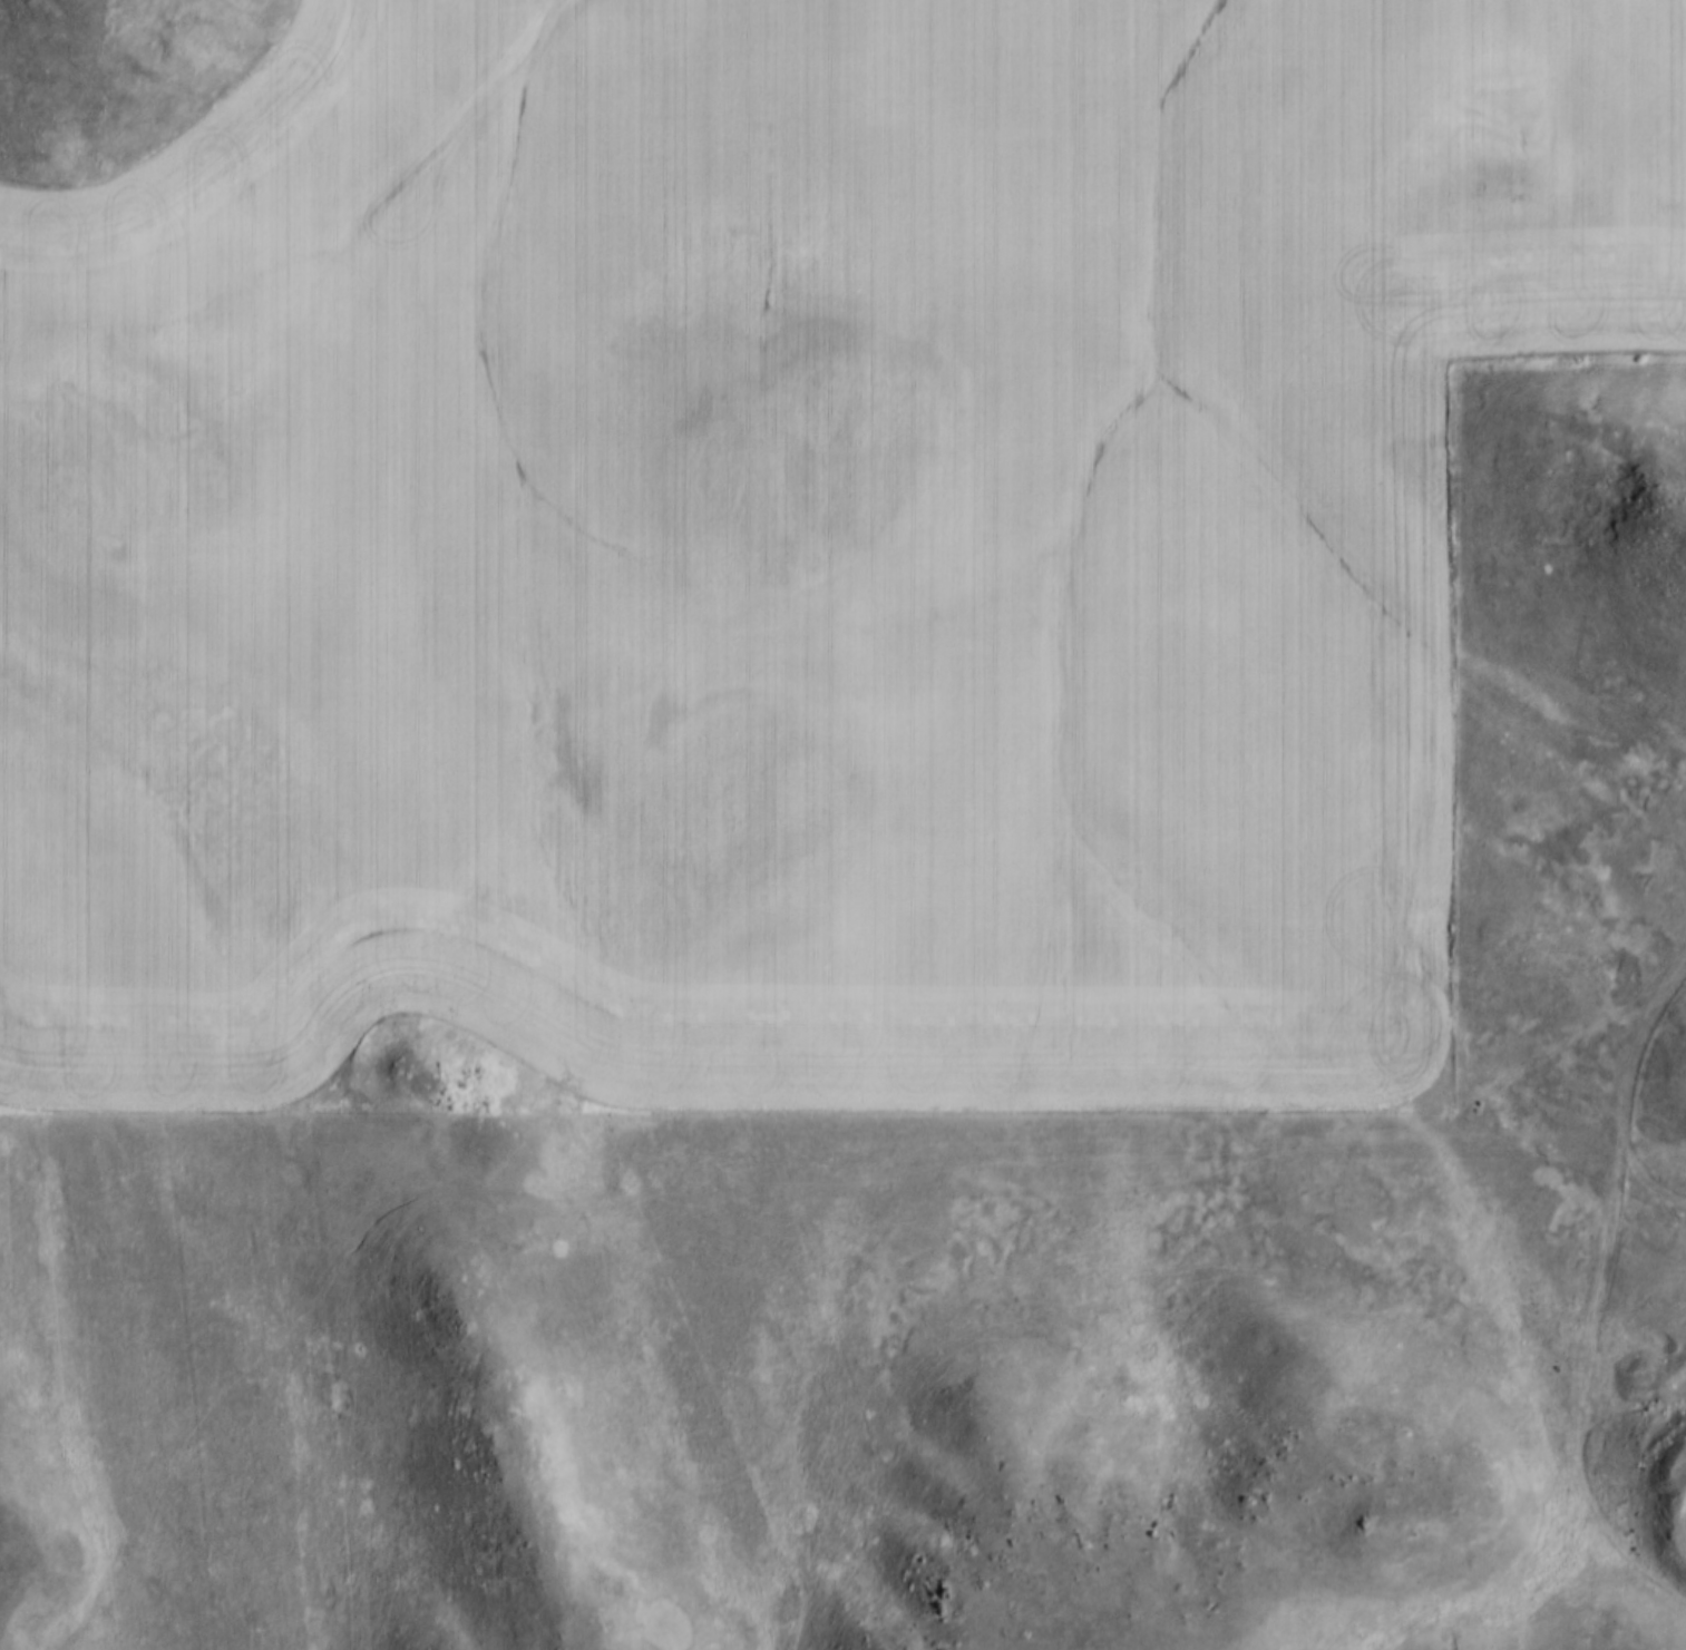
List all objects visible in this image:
quarry: (1664, 1486)

